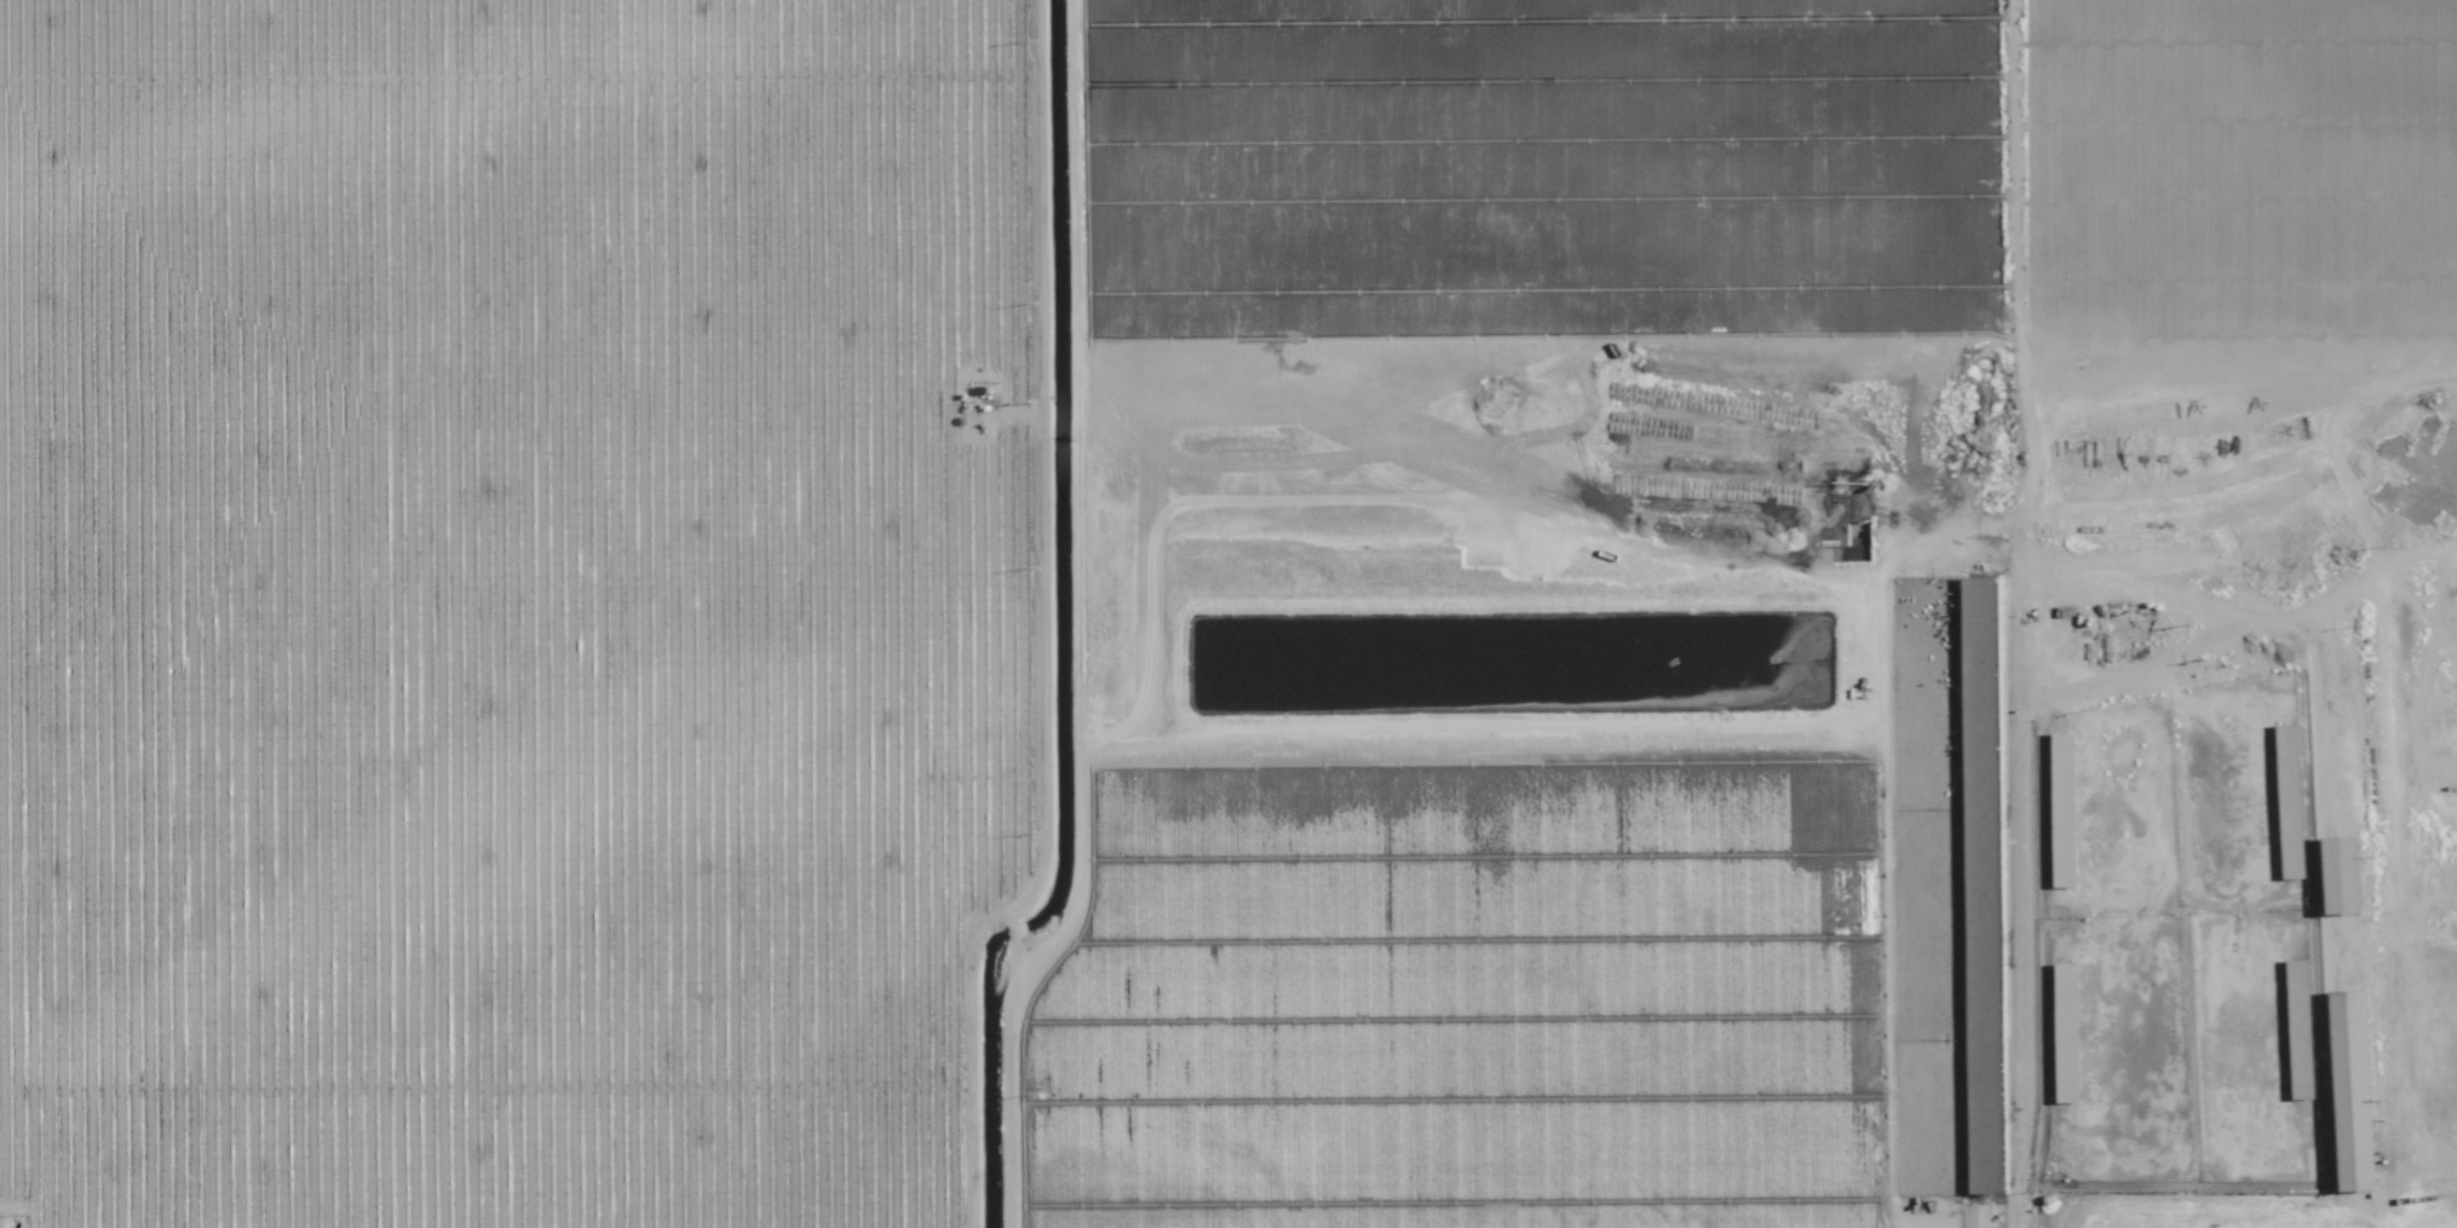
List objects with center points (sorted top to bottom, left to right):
road: (2332, 429)
crop: (1754, 612)
road: (2229, 616)
road: (1022, 972)
building: (2298, 1027)
building: (2354, 1088)

